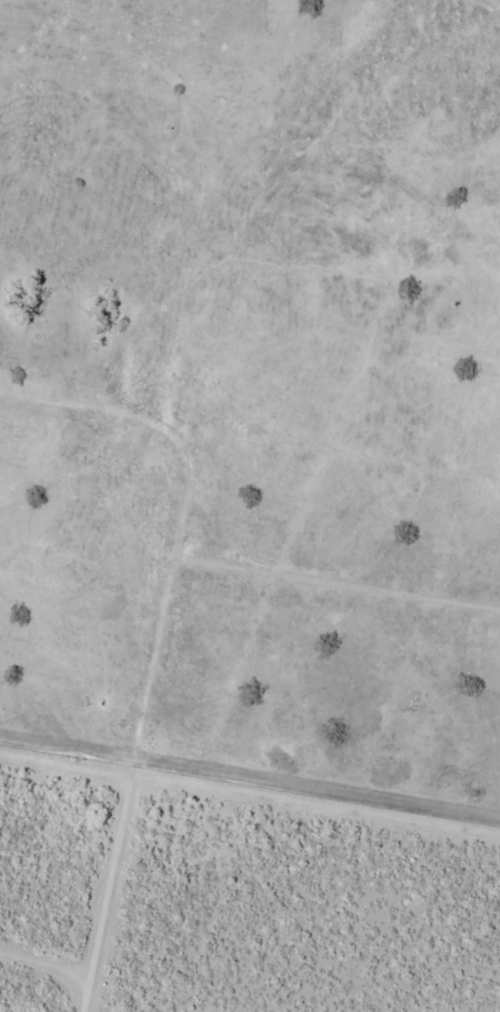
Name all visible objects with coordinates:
road: (178, 334)
road: (175, 700)

